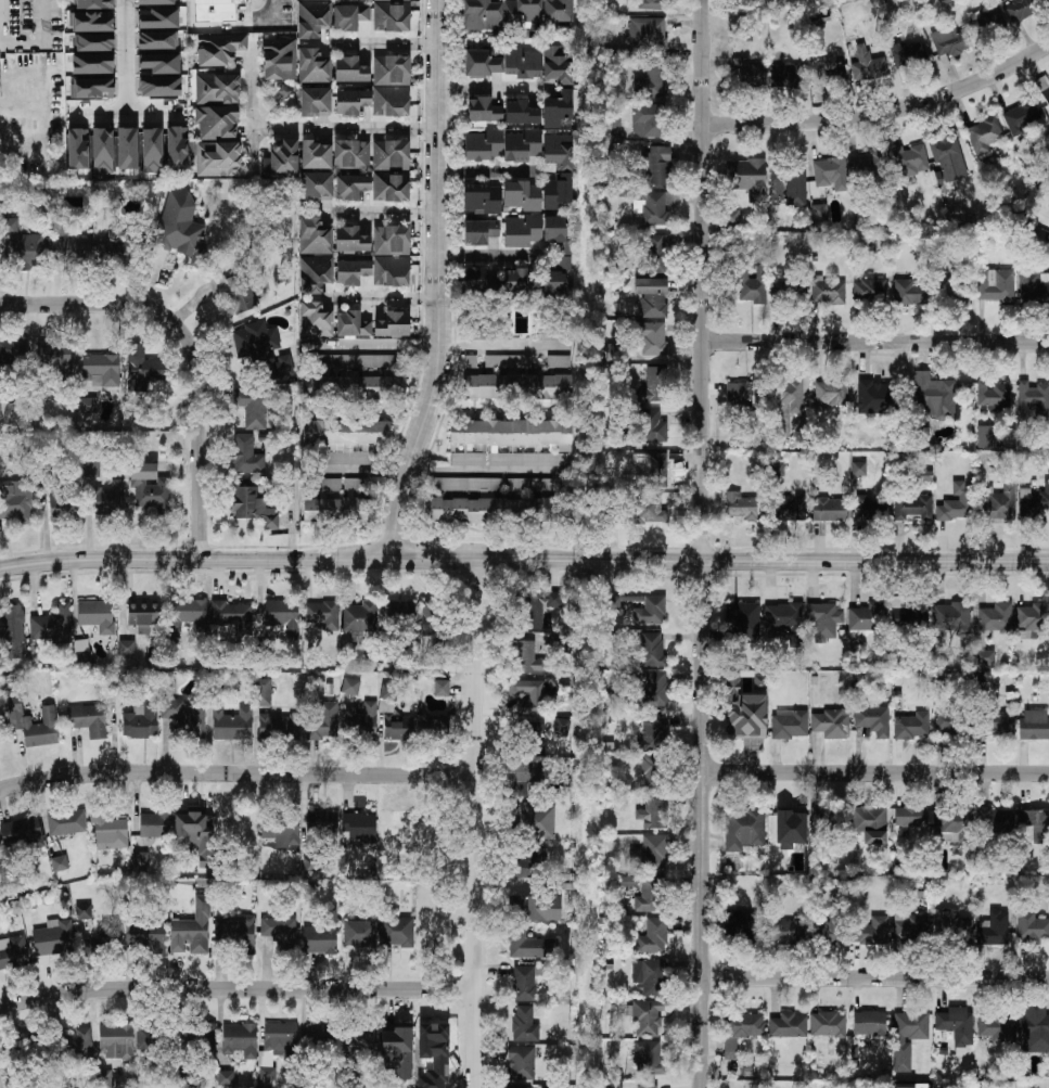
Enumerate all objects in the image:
building: (304, 0)
building: (93, 4)
building: (650, 4)
building: (217, 10)
building: (1022, 10)
building: (523, 12)
building: (558, 12)
building: (392, 15)
building: (482, 15)
building: (349, 17)
road: (265, 18)
building: (314, 18)
building: (90, 23)
building: (986, 23)
building: (648, 35)
road: (36, 40)
road: (371, 41)
road: (430, 41)
building: (949, 41)
building: (94, 42)
building: (219, 49)
road: (126, 55)
building: (908, 55)
building: (279, 60)
building: (161, 63)
building: (484, 63)
building: (92, 64)
building: (523, 64)
building: (557, 65)
building: (867, 65)
building: (314, 66)
building: (350, 71)
building: (392, 71)
building: (749, 73)
building: (831, 73)
building: (788, 78)
building: (651, 82)
building: (159, 87)
building: (1044, 88)
building: (91, 89)
building: (217, 89)
road: (494, 90)
building: (316, 102)
building: (351, 102)
building: (391, 102)
building: (558, 110)
building: (484, 111)
road: (883, 111)
road: (126, 112)
building: (521, 113)
building: (1021, 116)
building: (649, 120)
building: (217, 121)
road: (430, 128)
road: (300, 129)
building: (612, 129)
building: (984, 136)
building: (483, 145)
building: (522, 145)
building: (177, 148)
building: (102, 151)
building: (152, 151)
building: (559, 151)
building: (351, 154)
building: (316, 155)
building: (949, 158)
building: (218, 159)
building: (281, 159)
building: (910, 161)
building: (868, 165)
building: (657, 166)
building: (391, 170)
road: (489, 172)
building: (831, 174)
building: (747, 178)
building: (792, 183)
building: (317, 187)
building: (351, 187)
building: (558, 191)
building: (522, 195)
building: (483, 199)
building: (652, 208)
road: (431, 212)
road: (370, 213)
building: (820, 213)
building: (731, 218)
building: (181, 228)
building: (522, 231)
building: (481, 232)
building: (557, 234)
building: (314, 236)
building: (351, 240)
building: (22, 246)
building: (116, 247)
building: (69, 251)
building: (656, 254)
building: (391, 256)
road: (491, 256)
building: (351, 272)
building: (315, 273)
building: (557, 277)
building: (479, 280)
building: (515, 281)
road: (445, 282)
building: (220, 284)
building: (752, 285)
building: (996, 286)
building: (1034, 287)
building: (870, 290)
building: (951, 290)
building: (912, 292)
building: (828, 293)
building: (789, 294)
road: (372, 296)
road: (432, 296)
building: (652, 297)
building: (240, 302)
building: (315, 320)
building: (353, 324)
building: (393, 325)
building: (478, 332)
building: (652, 338)
road: (877, 342)
road: (374, 344)
road: (502, 344)
road: (193, 346)
building: (263, 349)
building: (12, 351)
building: (50, 361)
building: (101, 370)
building: (143, 370)
building: (354, 377)
building: (516, 377)
building: (653, 385)
building: (832, 393)
building: (873, 395)
building: (994, 395)
building: (744, 396)
building: (933, 397)
building: (1033, 402)
building: (786, 405)
building: (0, 406)
building: (88, 406)
building: (253, 408)
building: (653, 426)
building: (985, 435)
building: (503, 437)
building: (345, 441)
building: (246, 456)
road: (485, 468)
building: (859, 469)
building: (656, 470)
road: (368, 471)
building: (42, 482)
building: (529, 485)
building: (150, 490)
building: (107, 500)
building: (336, 500)
building: (956, 502)
building: (1035, 502)
building: (65, 503)
building: (17, 504)
building: (741, 504)
building: (999, 504)
building: (253, 507)
building: (790, 508)
building: (870, 508)
building: (913, 508)
building: (830, 509)
building: (490, 510)
building: (650, 510)
road: (704, 543)
road: (524, 560)
building: (534, 609)
building: (612, 610)
building: (652, 610)
building: (189, 614)
building: (322, 614)
building: (231, 615)
building: (281, 615)
building: (907, 615)
building: (400, 616)
building: (951, 616)
building: (95, 617)
building: (359, 617)
building: (743, 617)
building: (868, 617)
building: (995, 618)
building: (1032, 618)
building: (139, 619)
building: (783, 619)
building: (823, 620)
building: (52, 625)
building: (428, 629)
building: (13, 630)
building: (126, 648)
building: (652, 650)
building: (82, 652)
building: (524, 656)
building: (443, 687)
building: (350, 688)
building: (654, 690)
building: (264, 692)
building: (387, 692)
building: (527, 695)
building: (182, 718)
building: (873, 719)
building: (88, 720)
building: (142, 720)
building: (362, 721)
building: (739, 721)
building: (948, 721)
building: (323, 722)
building: (831, 722)
building: (997, 722)
building: (232, 724)
building: (789, 725)
building: (1034, 725)
building: (279, 727)
building: (434, 727)
building: (910, 727)
building: (40, 728)
building: (562, 728)
building: (398, 730)
building: (651, 734)
building: (532, 738)
building: (655, 771)
road: (877, 773)
road: (238, 775)
building: (524, 776)
building: (654, 814)
building: (913, 817)
building: (786, 820)
building: (823, 820)
building: (72, 822)
building: (528, 822)
building: (869, 822)
building: (995, 822)
building: (191, 823)
road: (476, 823)
building: (1035, 823)
building: (154, 824)
building: (322, 824)
building: (956, 824)
building: (280, 825)
building: (359, 825)
building: (235, 829)
building: (421, 829)
building: (742, 831)
building: (107, 832)
building: (24, 833)
building: (650, 854)
building: (60, 863)
building: (525, 865)
building: (650, 896)
building: (532, 908)
building: (84, 912)
building: (432, 922)
building: (742, 926)
building: (1032, 926)
building: (994, 927)
building: (192, 930)
building: (278, 930)
building: (909, 930)
building: (954, 930)
building: (785, 931)
building: (872, 931)
building: (396, 932)
building: (359, 933)
building: (824, 933)
building: (104, 934)
building: (144, 934)
building: (234, 934)
building: (652, 937)
building: (54, 938)
building: (318, 940)
building: (530, 945)
building: (86, 948)
building: (13, 953)
building: (649, 975)
road: (877, 980)
building: (524, 984)
road: (238, 991)
building: (645, 1019)
building: (868, 1023)
building: (956, 1023)
building: (524, 1024)
building: (788, 1024)
building: (828, 1024)
building: (995, 1027)
building: (741, 1028)
building: (1034, 1028)
building: (279, 1035)
building: (320, 1035)
building: (239, 1037)
building: (155, 1039)
building: (904, 1040)
building: (115, 1041)
building: (193, 1041)
building: (358, 1041)
building: (75, 1042)
building: (396, 1051)
building: (647, 1057)
building: (520, 1063)
building: (226, 1078)
building: (106, 1079)
building: (606, 1085)
building: (922, 1086)
building: (525, 1087)
building: (645, 1087)

